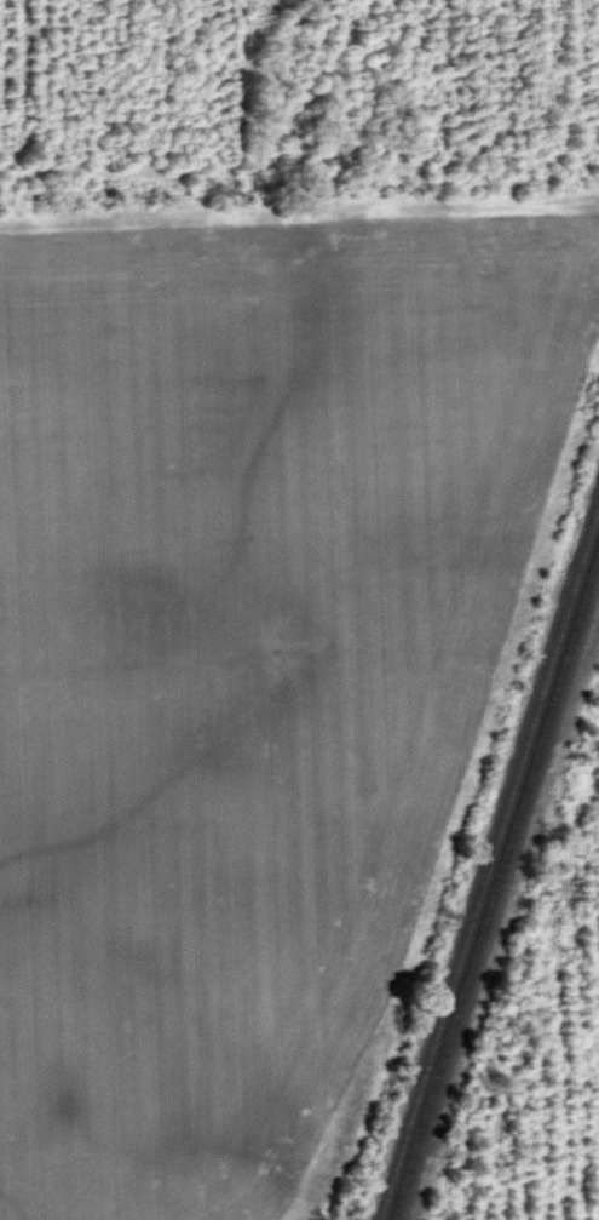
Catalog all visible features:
railway: (491, 871)

